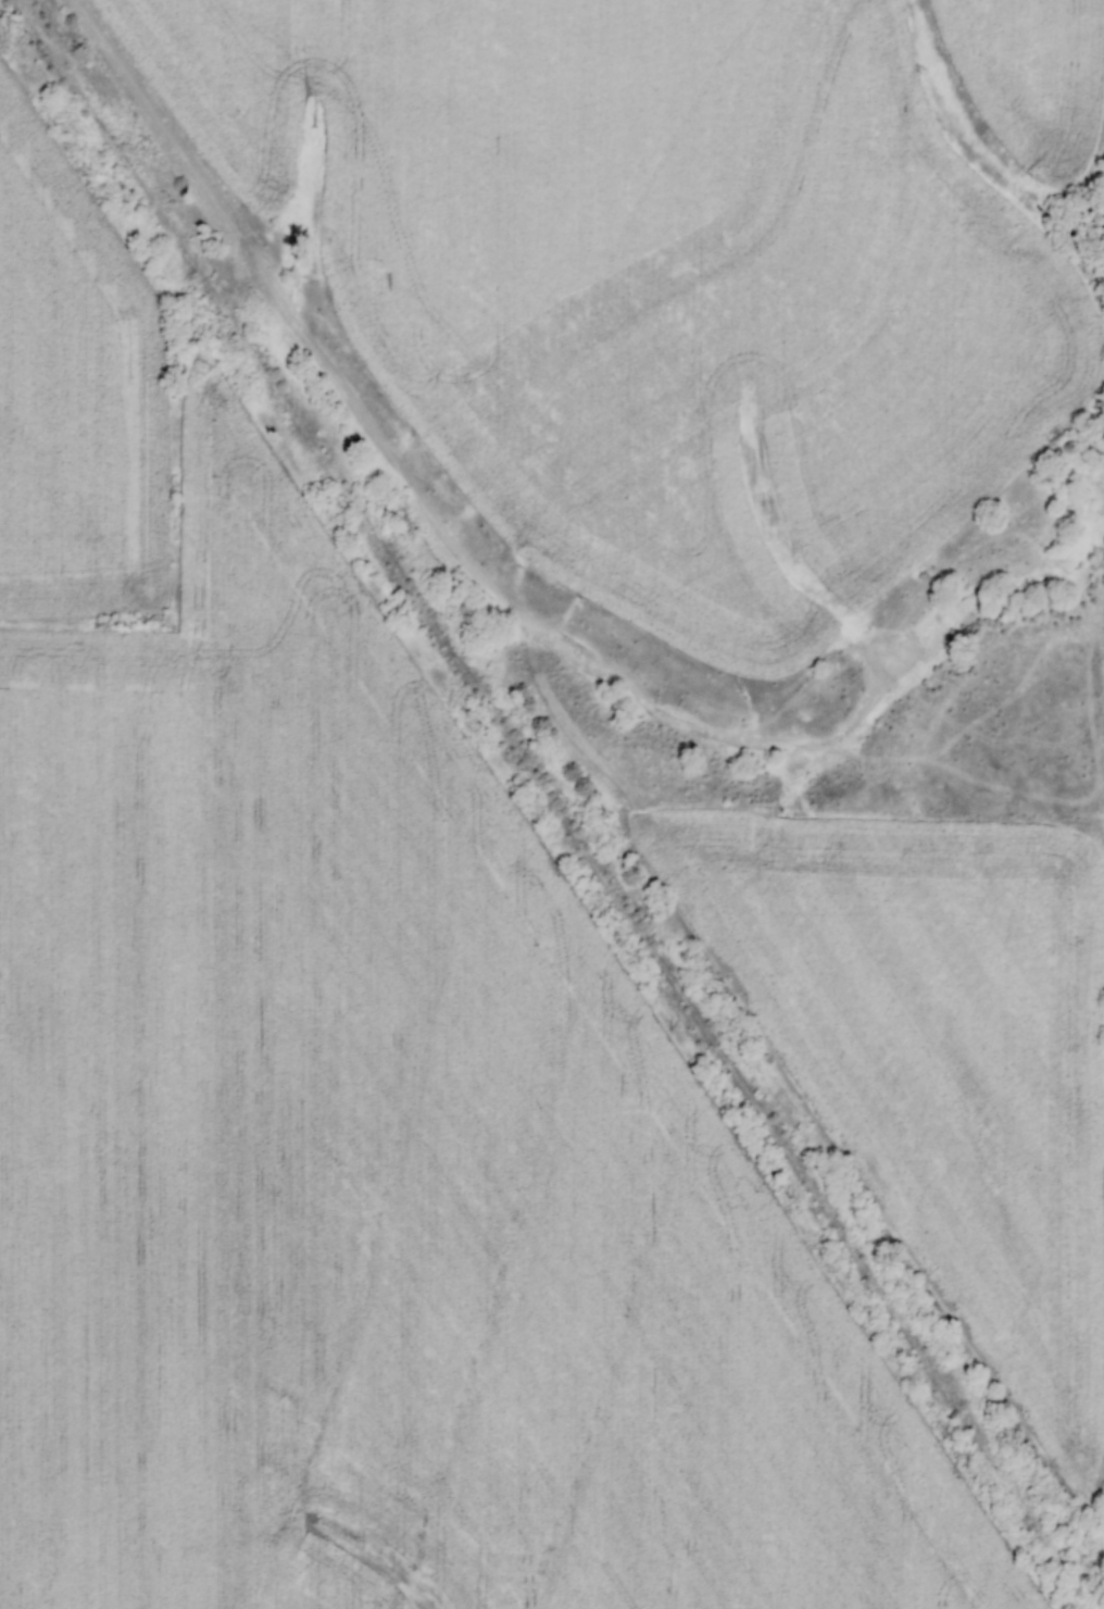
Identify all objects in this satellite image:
crop: (941, 1046)

